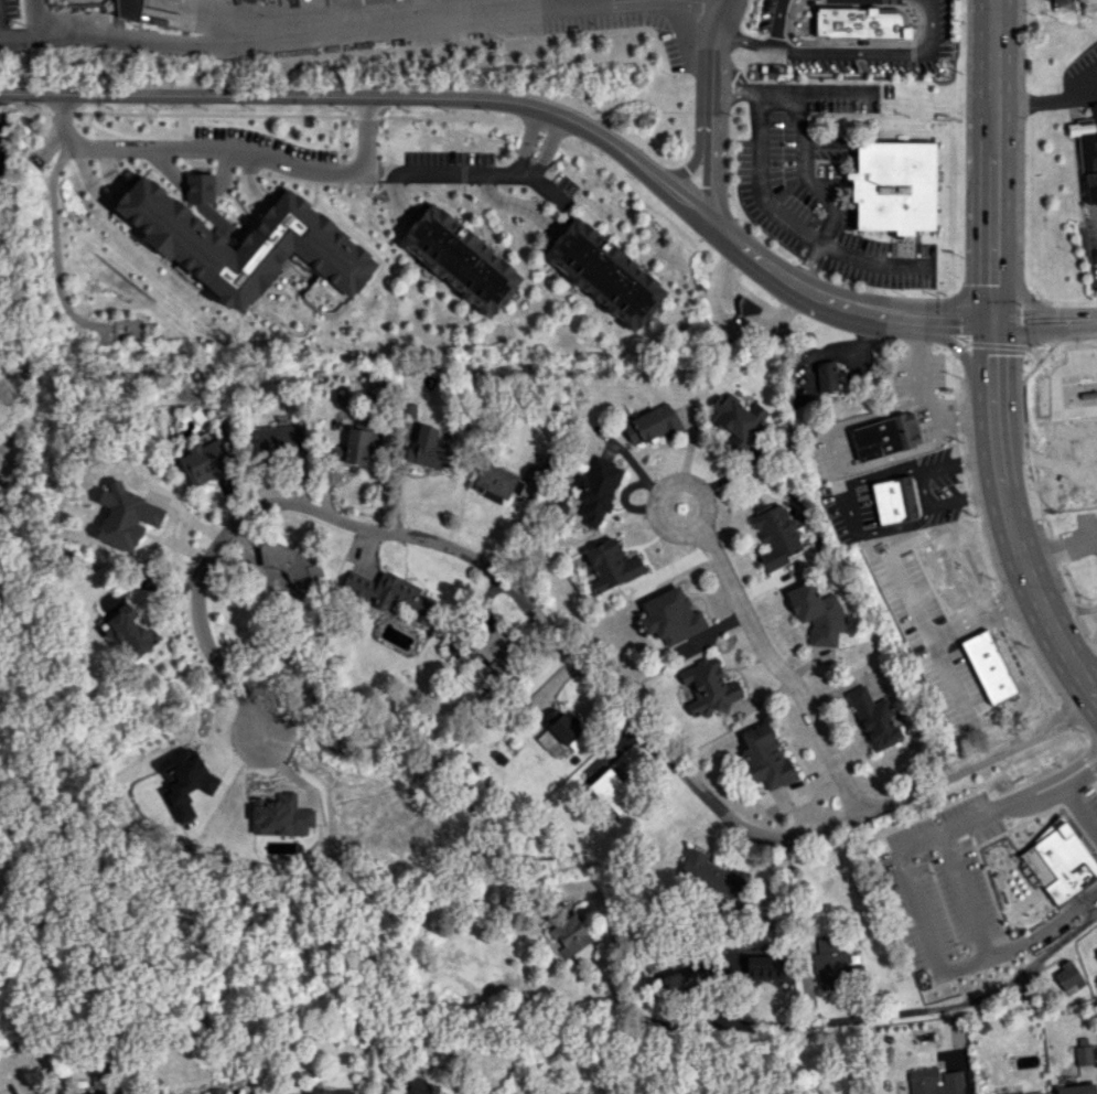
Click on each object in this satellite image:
road: (699, 7)
building: (133, 10)
building: (860, 22)
road: (773, 24)
road: (21, 30)
road: (315, 37)
road: (841, 52)
road: (373, 97)
road: (1048, 98)
road: (710, 109)
road: (992, 122)
road: (364, 133)
road: (525, 143)
road: (546, 149)
building: (1087, 152)
road: (270, 160)
road: (690, 162)
road: (760, 186)
building: (894, 186)
building: (200, 187)
road: (54, 242)
building: (243, 244)
building: (463, 259)
road: (871, 262)
building: (606, 272)
road: (797, 291)
road: (1019, 292)
building: (749, 307)
road: (1082, 319)
road: (731, 321)
road: (1029, 321)
road: (948, 322)
road: (991, 322)
traffic signals: (991, 322)
building: (127, 329)
road: (1067, 339)
road: (958, 350)
road: (1083, 357)
building: (826, 376)
building: (408, 410)
road: (1035, 412)
building: (1088, 419)
building: (650, 425)
building: (739, 427)
road: (1077, 427)
building: (884, 436)
building: (279, 439)
building: (355, 446)
building: (428, 449)
building: (205, 462)
building: (497, 480)
building: (596, 490)
road: (1091, 496)
building: (893, 501)
road: (1002, 501)
road: (1045, 503)
building: (125, 516)
building: (775, 536)
road: (1058, 547)
building: (610, 566)
building: (291, 567)
park: (11, 583)
building: (389, 593)
road: (736, 600)
road: (1065, 608)
building: (817, 613)
building: (671, 616)
building: (131, 630)
road: (947, 637)
road: (1058, 641)
road: (567, 650)
building: (494, 651)
road: (1088, 654)
building: (988, 667)
road: (955, 682)
building: (707, 687)
road: (1090, 691)
building: (873, 719)
building: (560, 736)
road: (1089, 758)
building: (765, 759)
road: (1094, 765)
road: (1055, 775)
building: (183, 780)
road: (1063, 787)
building: (611, 793)
road: (1025, 793)
road: (1029, 798)
road: (1082, 809)
building: (280, 816)
building: (1060, 862)
building: (706, 871)
road: (969, 891)
road: (795, 932)
road: (922, 932)
building: (570, 934)
building: (1096, 947)
building: (583, 953)
building: (830, 964)
building: (1067, 978)
building: (687, 980)
road: (931, 1010)
building: (1083, 1051)
building: (934, 1082)
building: (422, 1086)
building: (1075, 1090)
building: (326, 1092)

